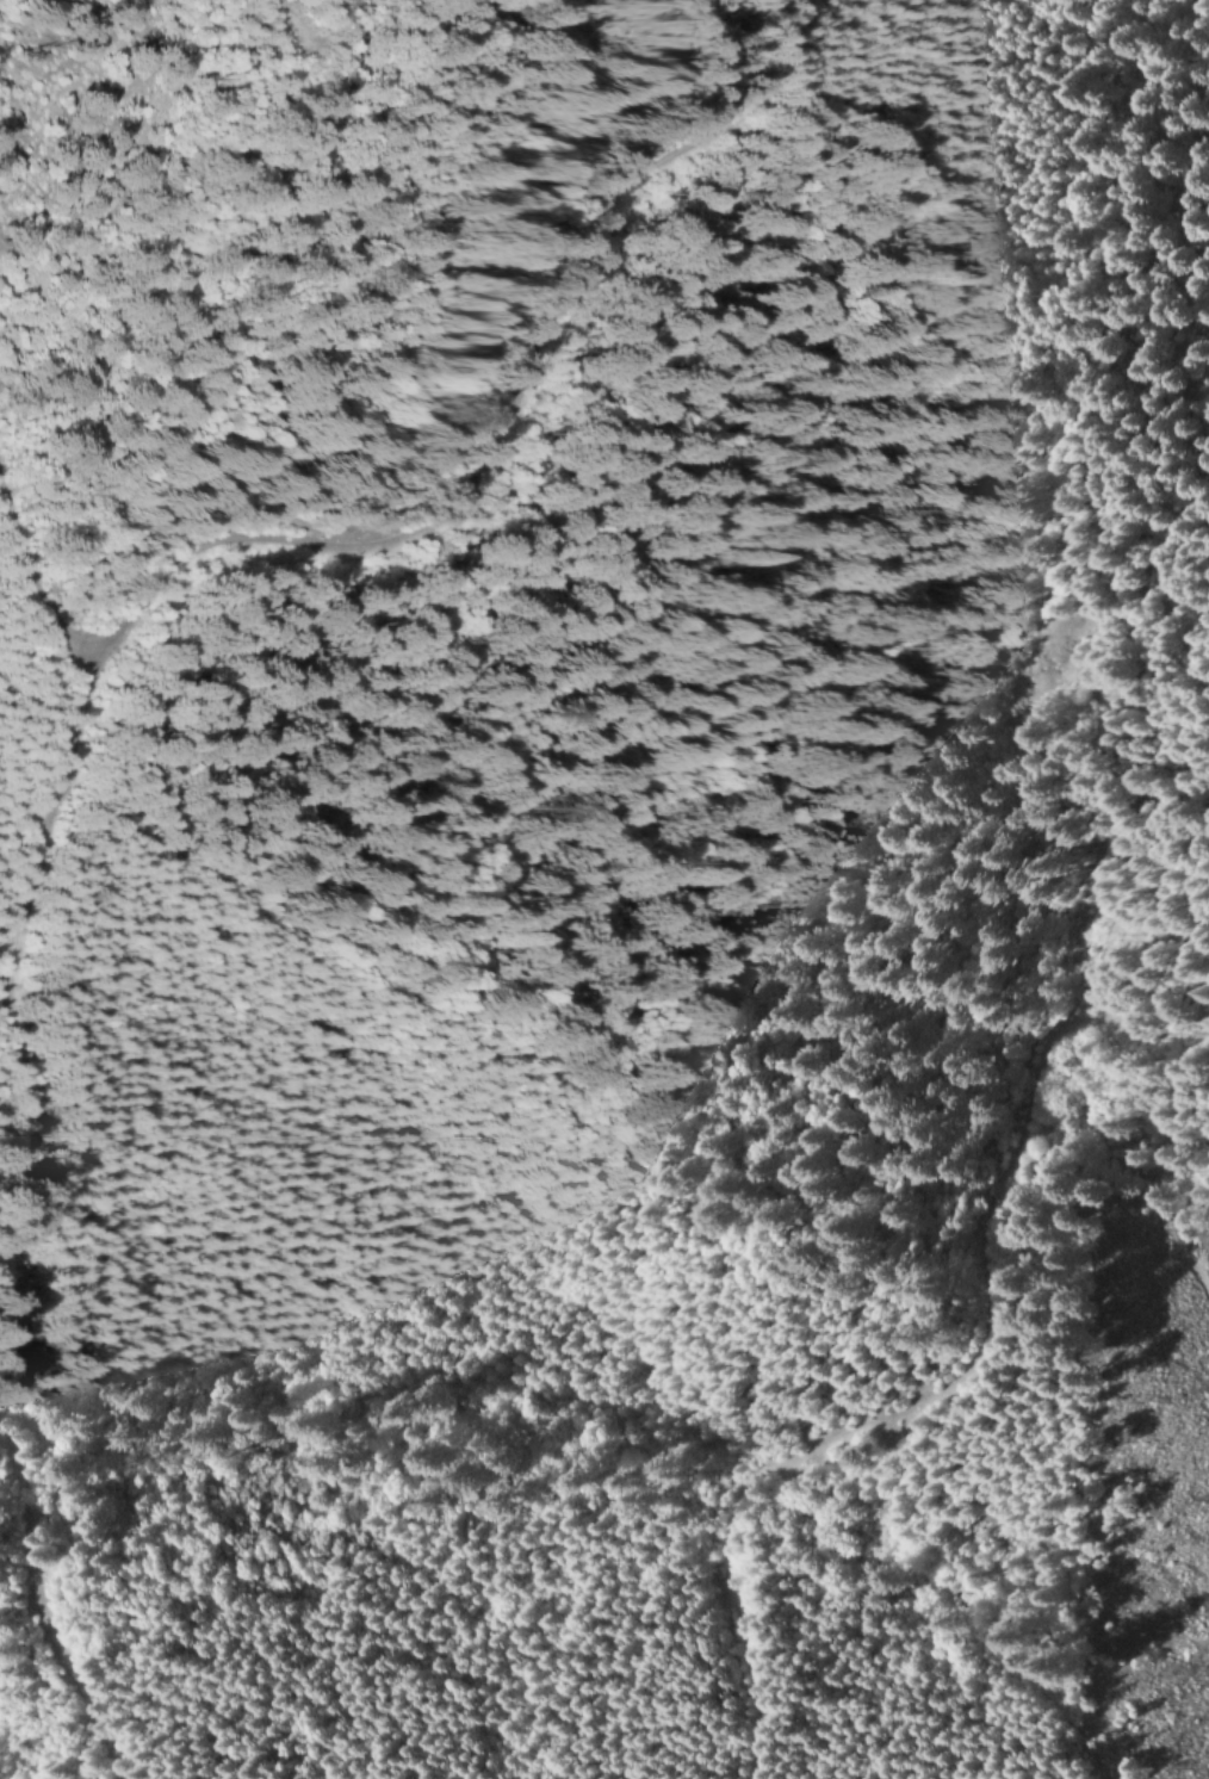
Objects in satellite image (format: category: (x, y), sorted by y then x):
road: (298, 21)
road: (472, 496)
road: (19, 1213)

